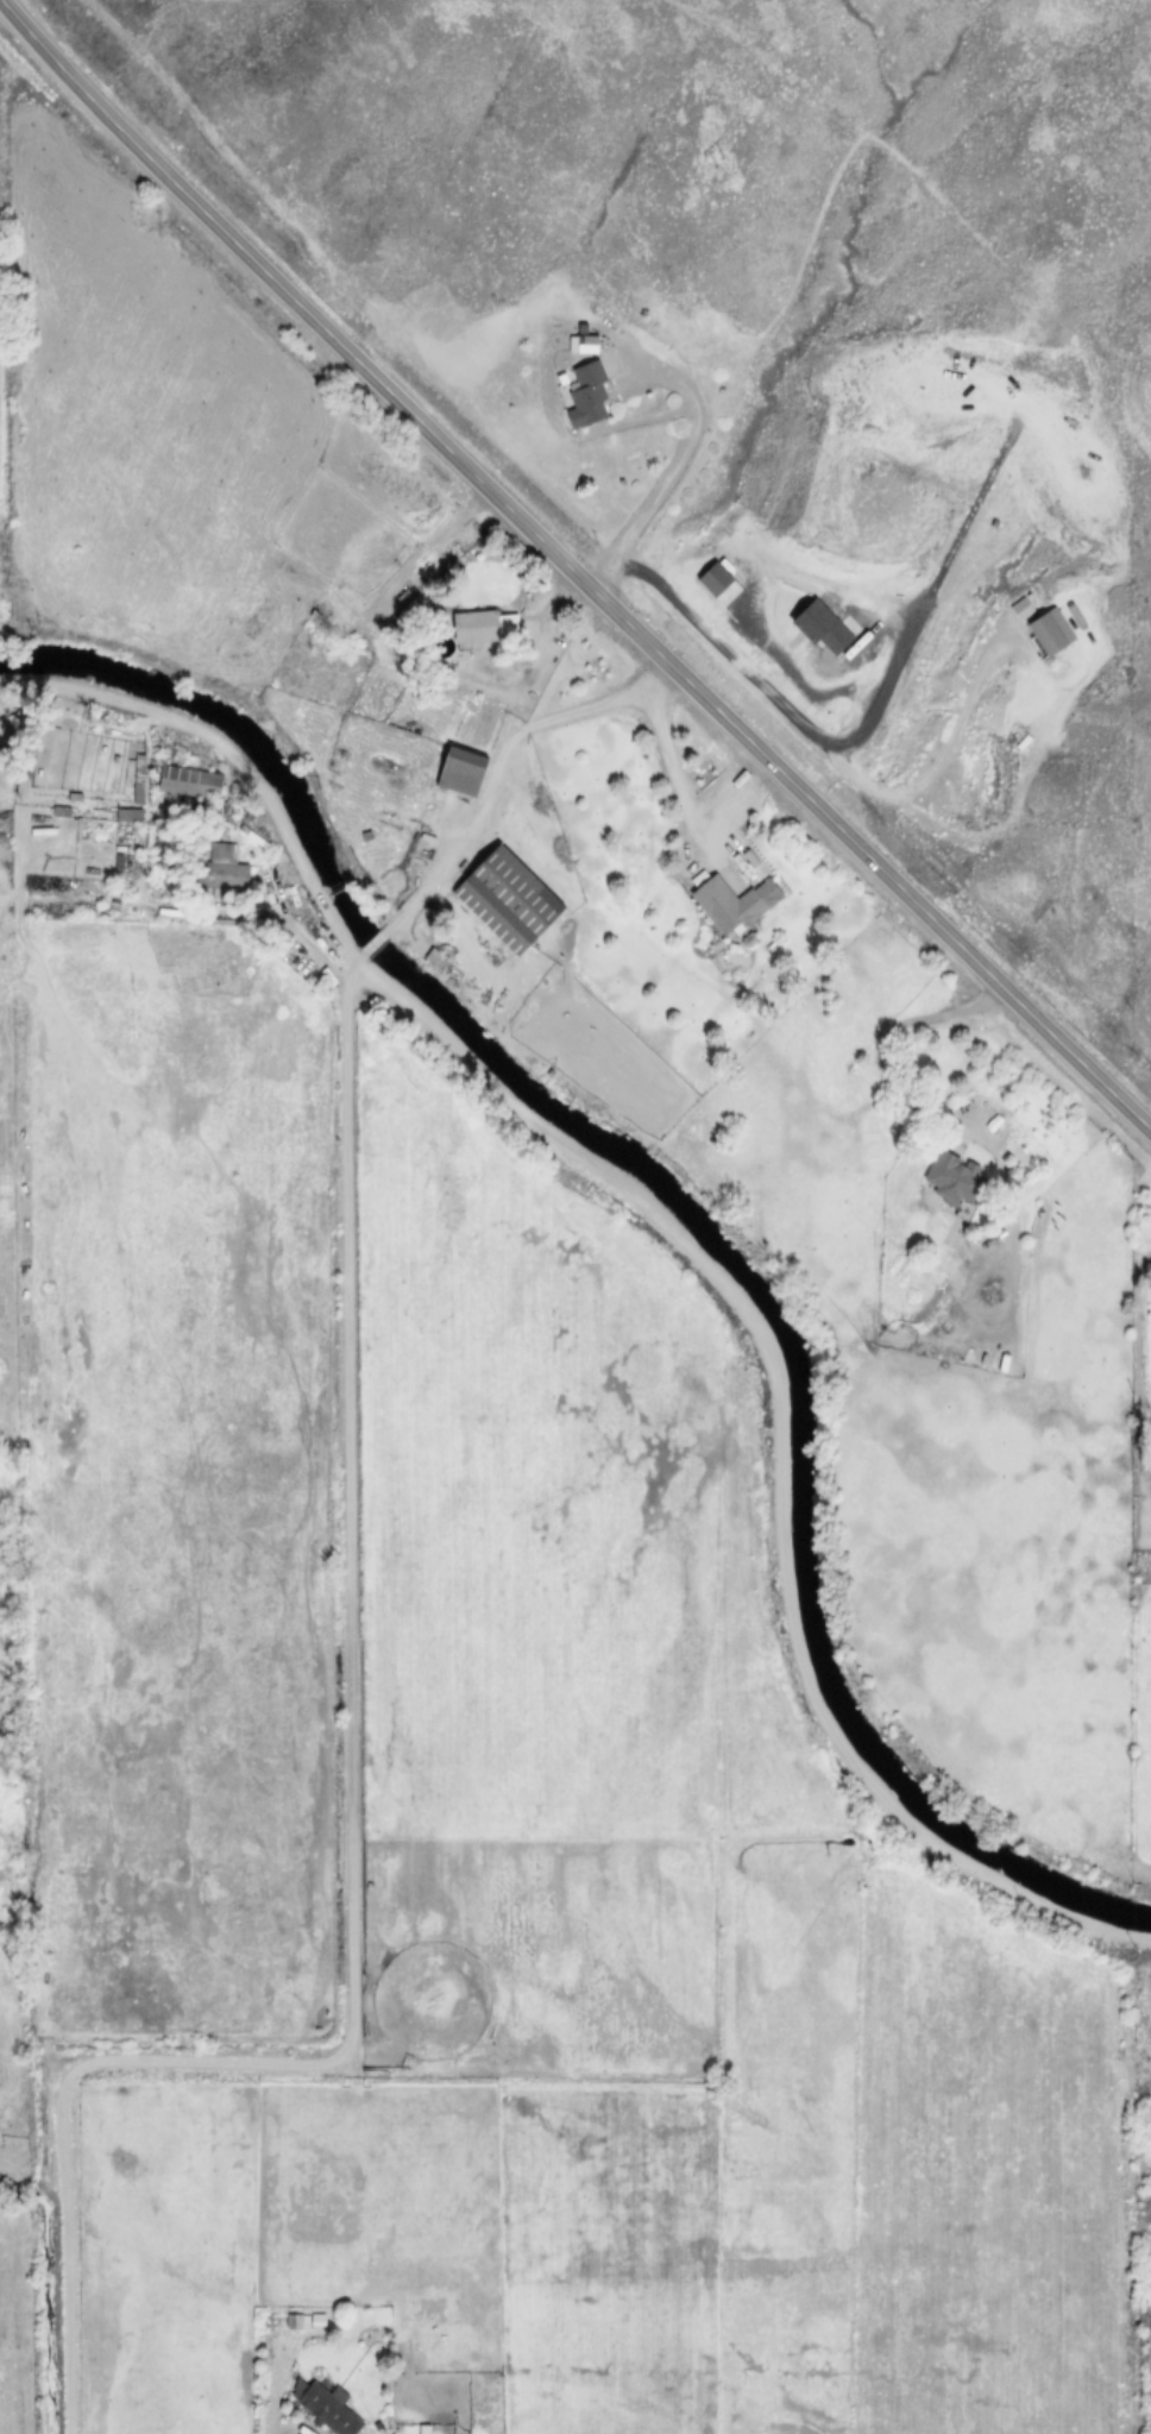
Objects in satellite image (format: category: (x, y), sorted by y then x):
building: (589, 394)
road: (697, 451)
road: (572, 571)
building: (719, 584)
building: (1021, 608)
building: (476, 625)
building: (1056, 627)
building: (824, 628)
road: (539, 731)
road: (816, 734)
building: (464, 771)
road: (673, 772)
building: (139, 781)
building: (191, 781)
building: (221, 868)
road: (413, 895)
building: (510, 900)
building: (735, 902)
road: (370, 946)
road: (918, 1105)
building: (956, 1178)
road: (683, 1238)
road: (354, 1828)
building: (298, 2320)
building: (328, 2404)

